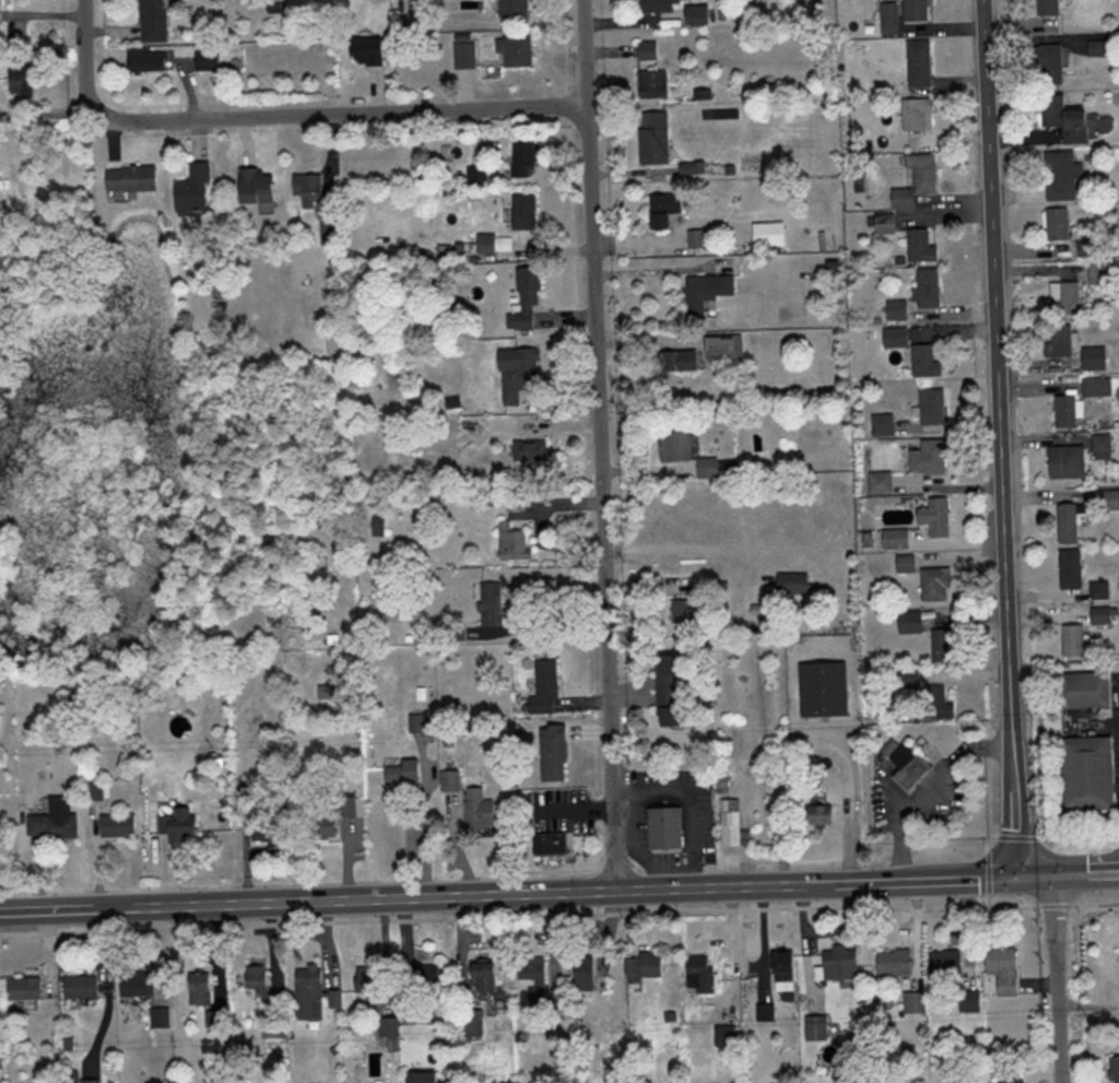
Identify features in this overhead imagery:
building: (655, 5)
building: (517, 8)
building: (1045, 8)
building: (912, 11)
building: (0, 12)
building: (694, 14)
building: (886, 16)
building: (155, 21)
building: (1095, 48)
building: (645, 50)
building: (372, 51)
building: (516, 51)
road: (84, 55)
building: (466, 55)
building: (148, 59)
building: (208, 60)
building: (917, 63)
building: (1047, 64)
building: (23, 79)
building: (649, 84)
road: (334, 109)
building: (914, 114)
building: (1061, 119)
building: (651, 137)
building: (523, 158)
building: (691, 169)
building: (1060, 175)
building: (134, 176)
building: (478, 176)
building: (914, 180)
building: (259, 184)
building: (308, 186)
building: (197, 189)
building: (523, 211)
building: (661, 211)
building: (882, 224)
building: (1055, 224)
building: (330, 227)
building: (766, 235)
building: (487, 243)
building: (918, 247)
road: (650, 269)
building: (1097, 273)
building: (924, 289)
building: (703, 293)
building: (1062, 298)
building: (522, 301)
building: (894, 310)
building: (892, 338)
building: (1057, 342)
building: (720, 349)
building: (1092, 358)
building: (672, 361)
building: (921, 363)
building: (515, 372)
building: (1094, 387)
building: (927, 407)
building: (1062, 412)
building: (881, 425)
road: (1003, 438)
road: (601, 446)
building: (672, 447)
building: (1099, 447)
building: (527, 450)
building: (926, 457)
building: (1063, 462)
building: (704, 468)
building: (877, 482)
building: (1108, 499)
building: (517, 502)
building: (932, 517)
building: (1068, 521)
building: (379, 523)
building: (893, 538)
building: (514, 541)
building: (903, 563)
building: (1068, 567)
building: (789, 581)
building: (932, 582)
building: (1097, 589)
building: (493, 603)
building: (1098, 614)
building: (907, 620)
road: (540, 627)
building: (1070, 639)
building: (940, 643)
building: (543, 686)
building: (821, 687)
building: (1087, 688)
building: (667, 690)
building: (935, 702)
building: (416, 722)
building: (551, 752)
building: (905, 765)
building: (399, 769)
building: (1089, 775)
building: (448, 780)
road: (939, 802)
road: (684, 803)
building: (476, 808)
road: (851, 813)
building: (332, 814)
building: (816, 814)
building: (56, 820)
building: (119, 824)
building: (181, 824)
building: (730, 824)
building: (270, 826)
building: (662, 827)
road: (423, 832)
building: (550, 843)
road: (1086, 874)
road: (1038, 876)
traffic signals: (1055, 876)
traffic signals: (1023, 878)
road: (927, 880)
road: (462, 896)
road: (46, 910)
road: (559, 914)
building: (837, 962)
building: (892, 962)
building: (641, 965)
building: (943, 965)
building: (1001, 968)
building: (780, 970)
building: (425, 973)
building: (579, 974)
building: (696, 974)
building: (531, 975)
building: (482, 976)
building: (365, 978)
road: (1058, 979)
building: (139, 981)
building: (259, 981)
building: (82, 986)
building: (25, 987)
building: (201, 987)
building: (314, 992)
building: (967, 1000)
building: (912, 1001)
building: (763, 1011)
building: (160, 1017)
building: (215, 1017)
building: (471, 1024)
building: (813, 1027)
building: (386, 1034)
building: (723, 1035)
building: (1112, 1069)
building: (416, 1076)
building: (1005, 1076)

